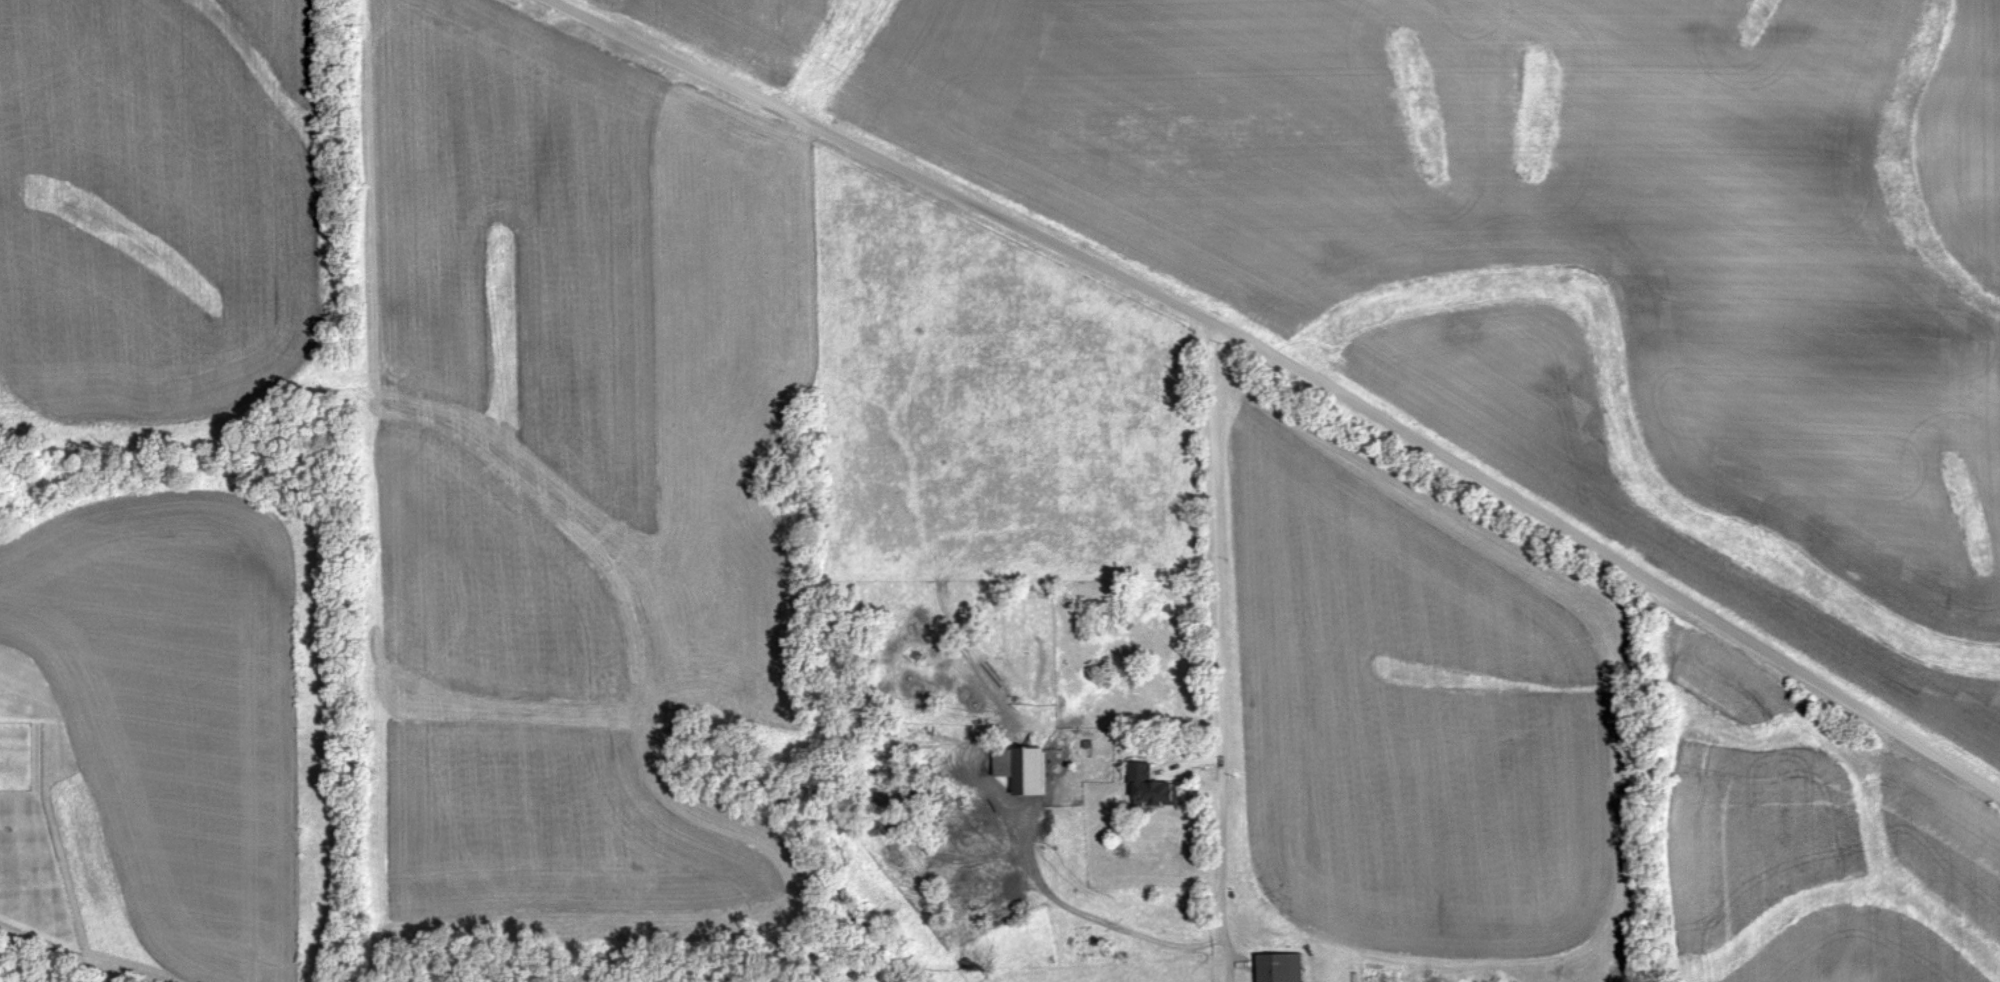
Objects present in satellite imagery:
road: (1290, 368)
road: (1220, 653)
building: (1026, 771)
building: (1155, 790)
road: (1097, 919)
building: (1285, 969)

